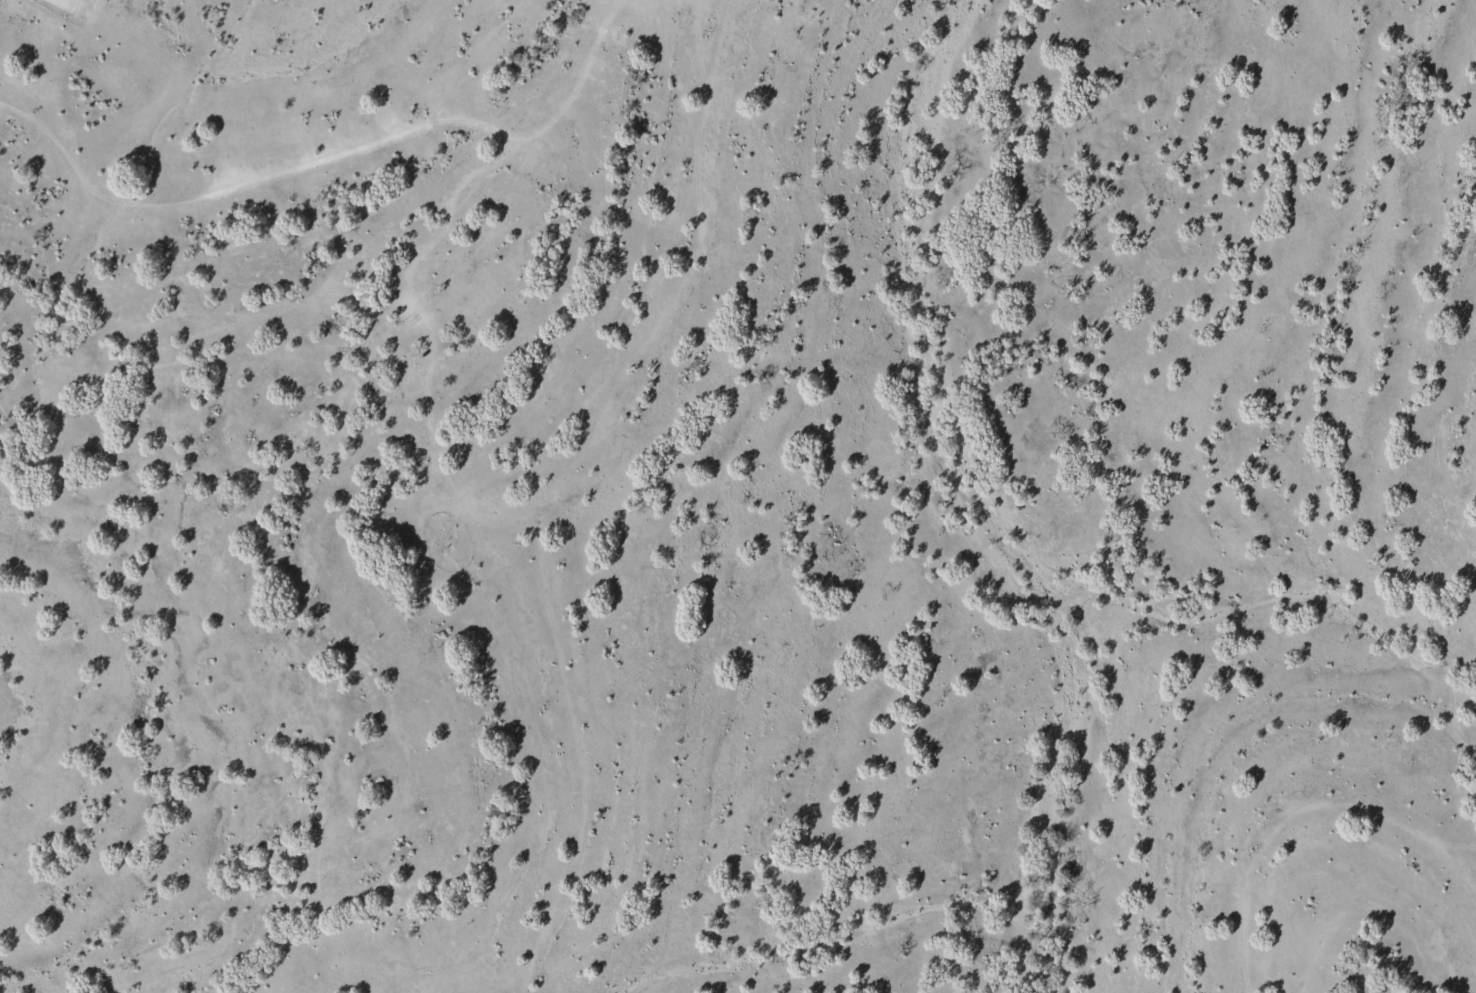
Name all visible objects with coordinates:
road: (279, 182)

